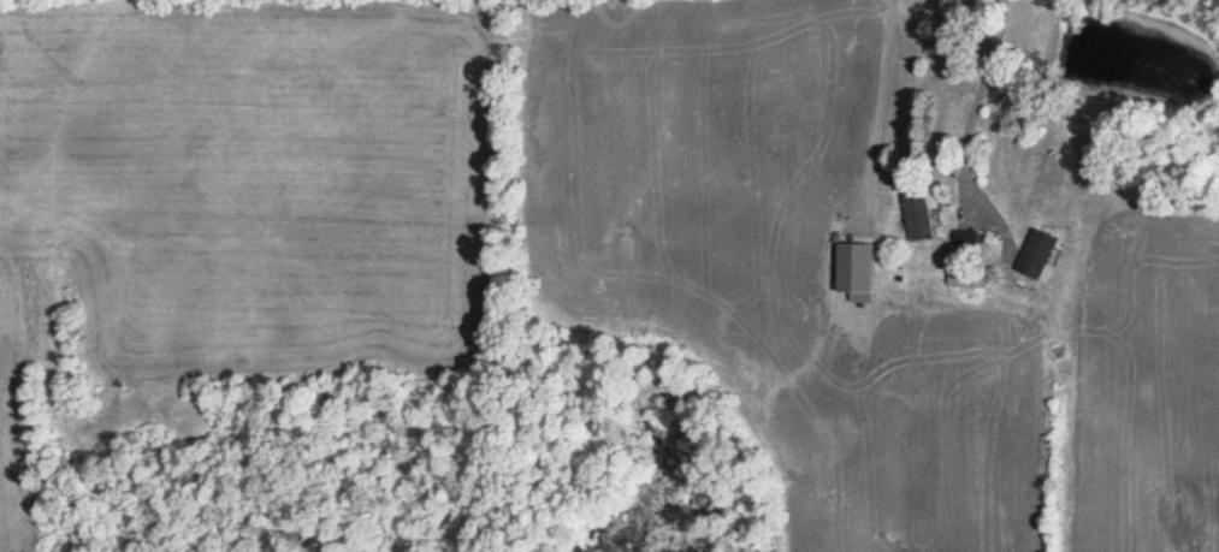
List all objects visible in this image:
building: (922, 215)
building: (958, 241)
building: (1043, 255)
building: (860, 267)

